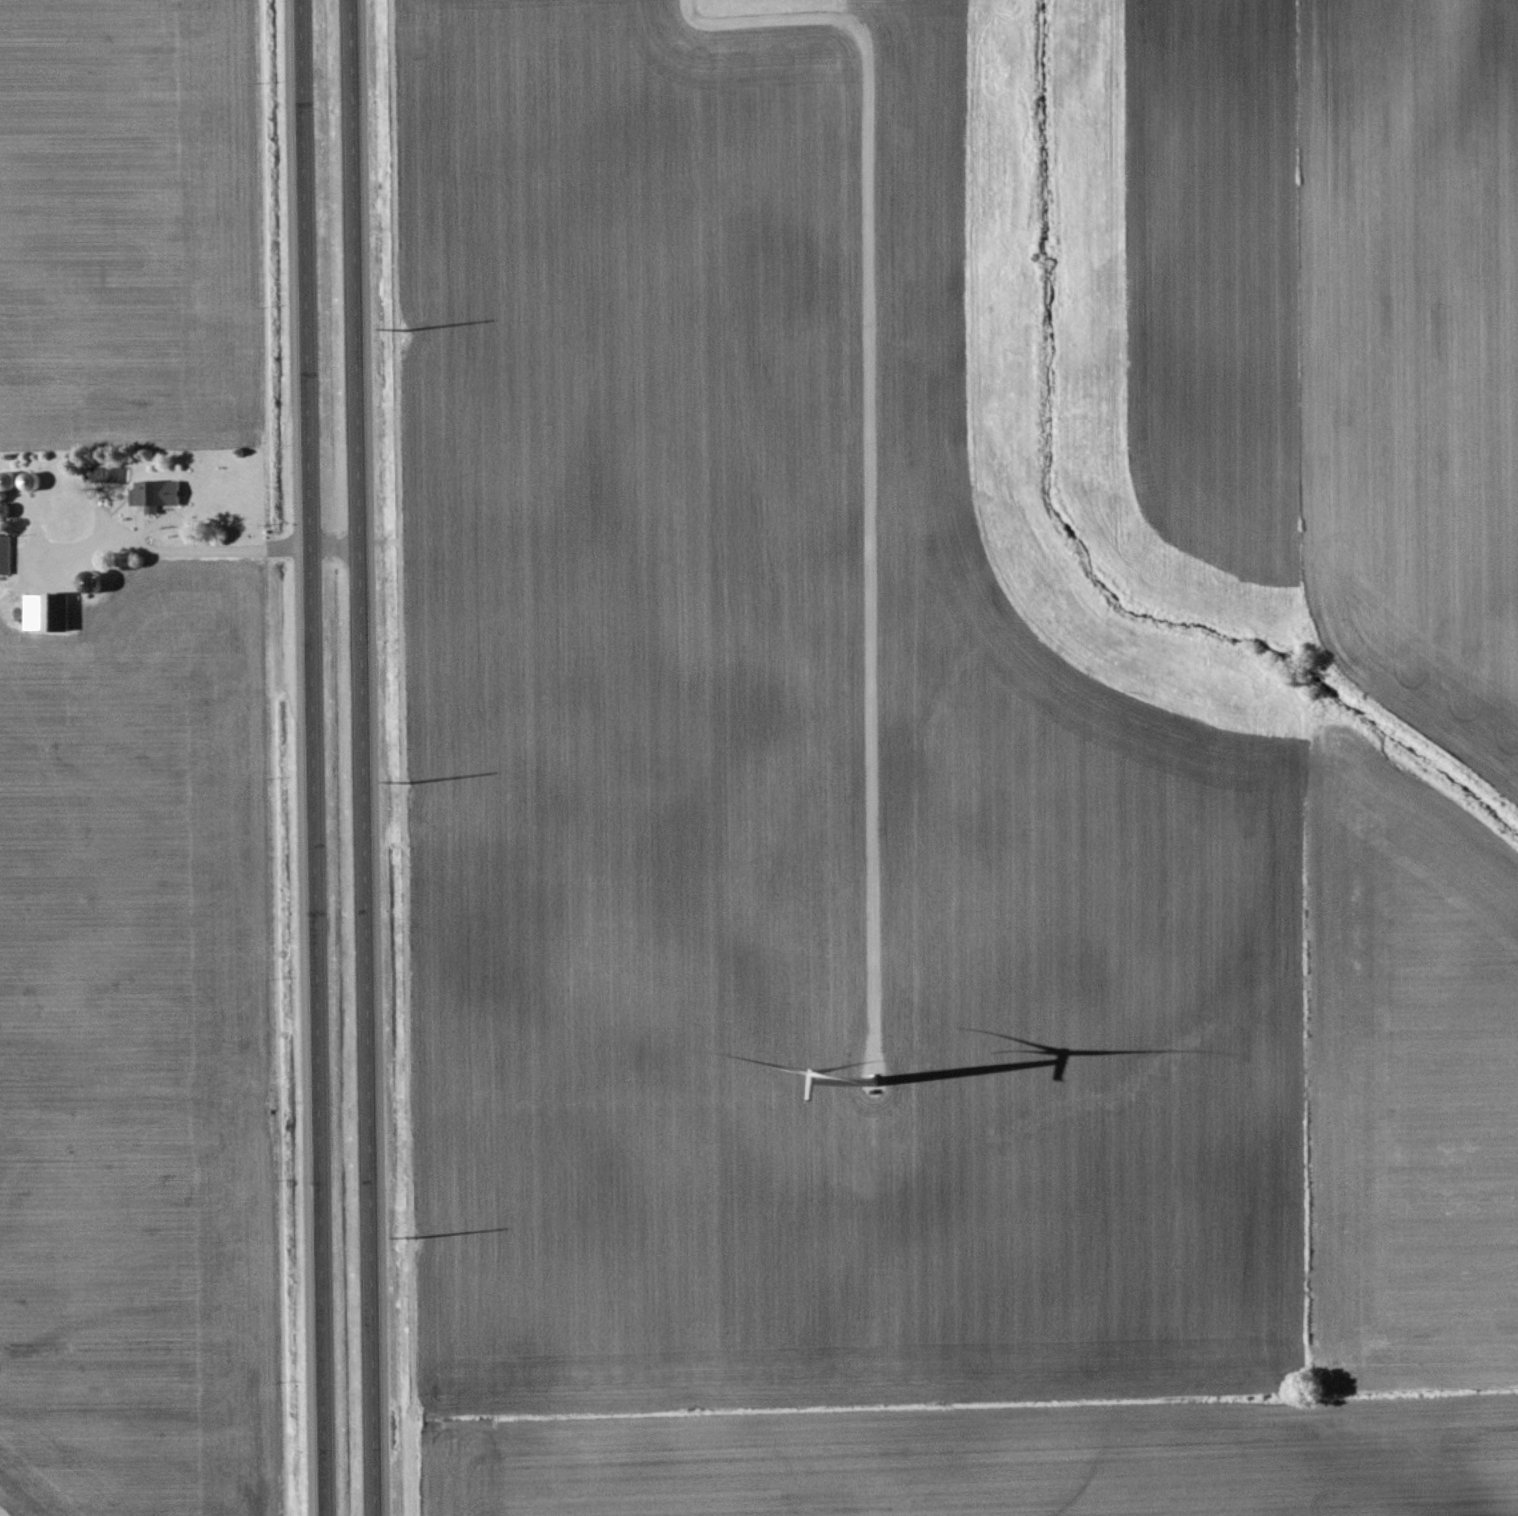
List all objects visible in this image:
power tower: (407, 329)
road: (869, 432)
building: (159, 494)
road: (336, 547)
road: (181, 551)
building: (7, 554)
building: (47, 613)
road: (313, 757)
road: (365, 757)
power tower: (407, 779)
wind turbine: (874, 1085)
power tower: (420, 1235)

